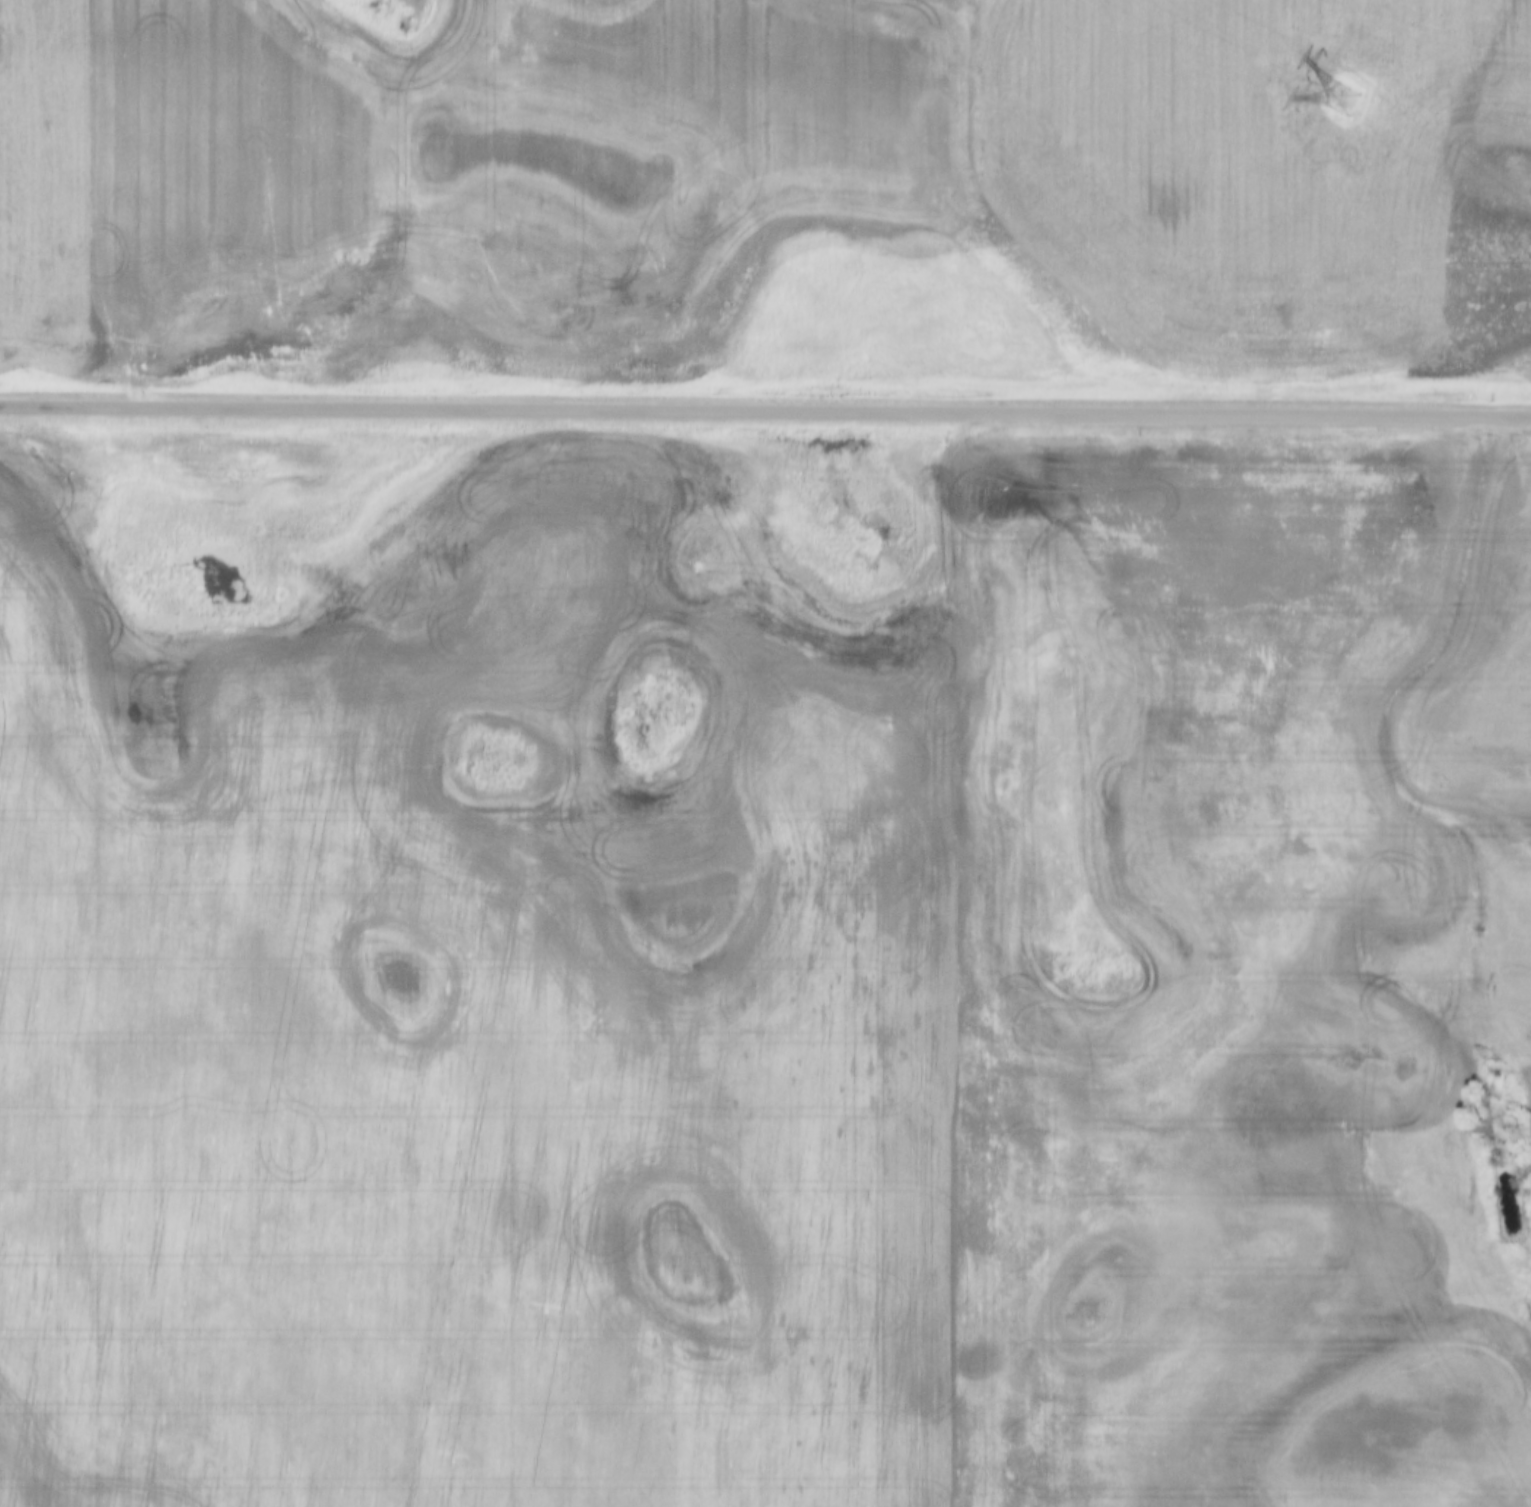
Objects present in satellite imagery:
power tower: (1348, 91)
road: (765, 414)
building: (1510, 1229)

